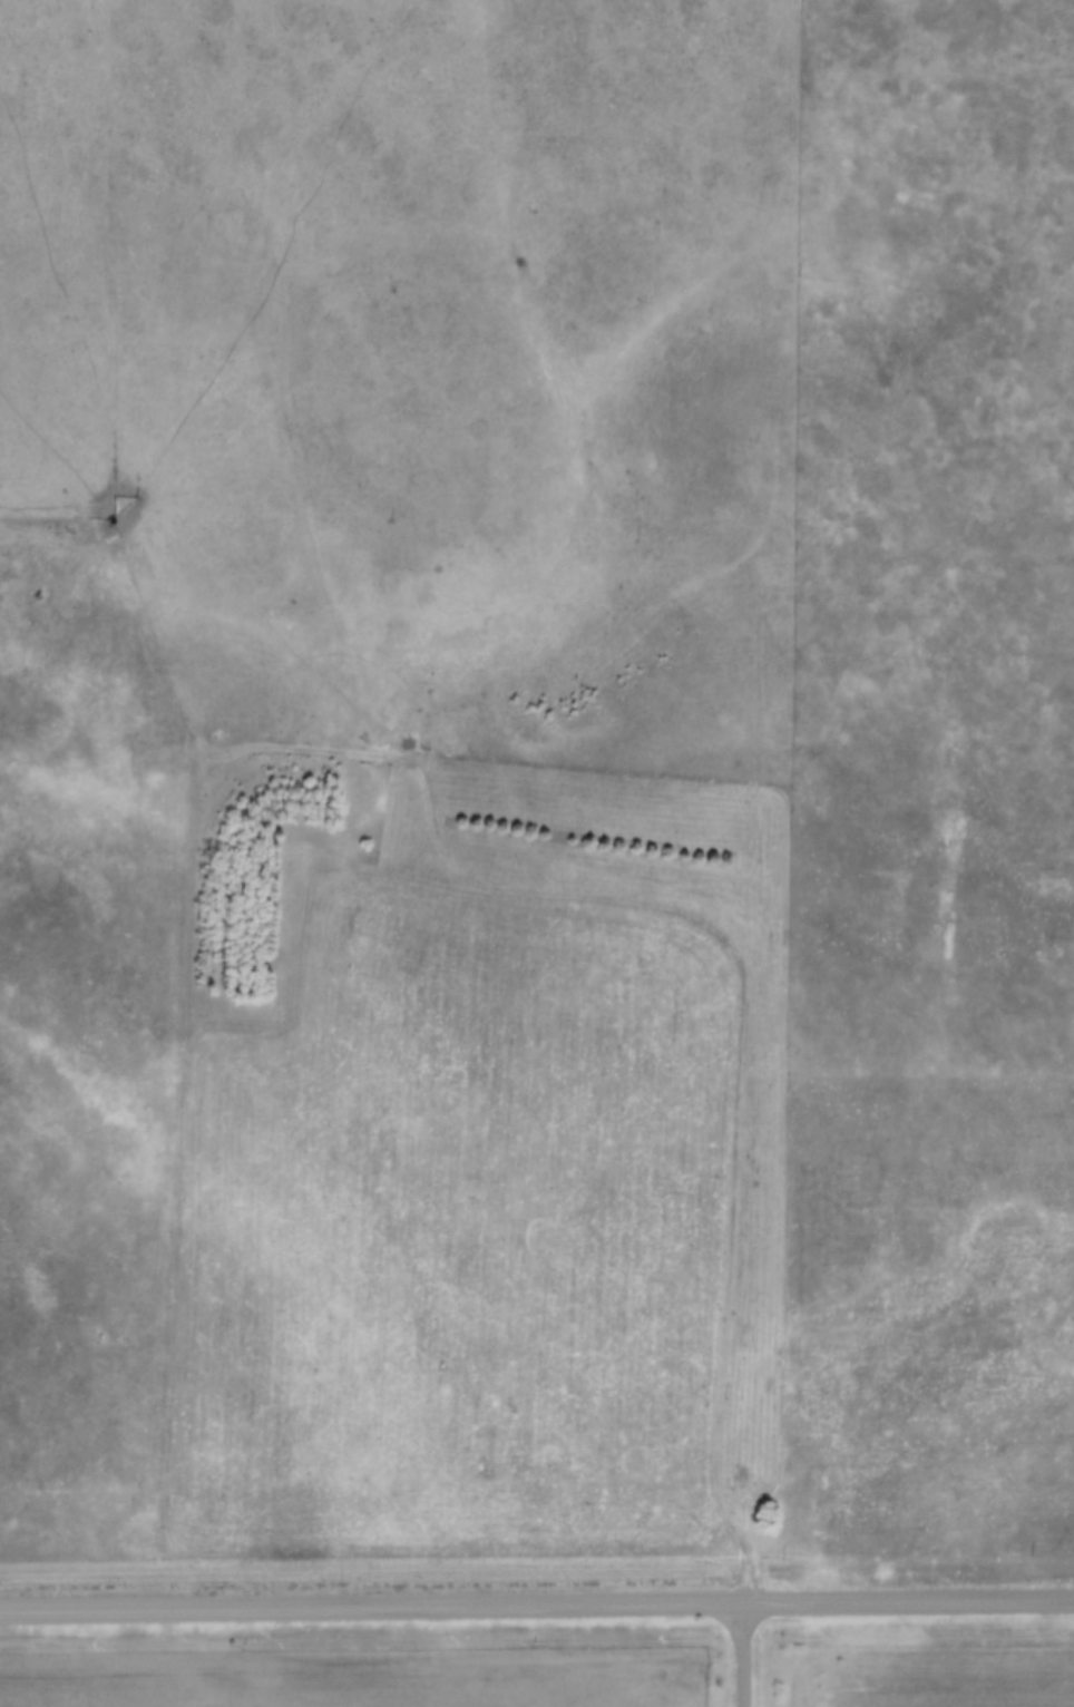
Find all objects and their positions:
road: (536, 1610)
road: (743, 1657)

